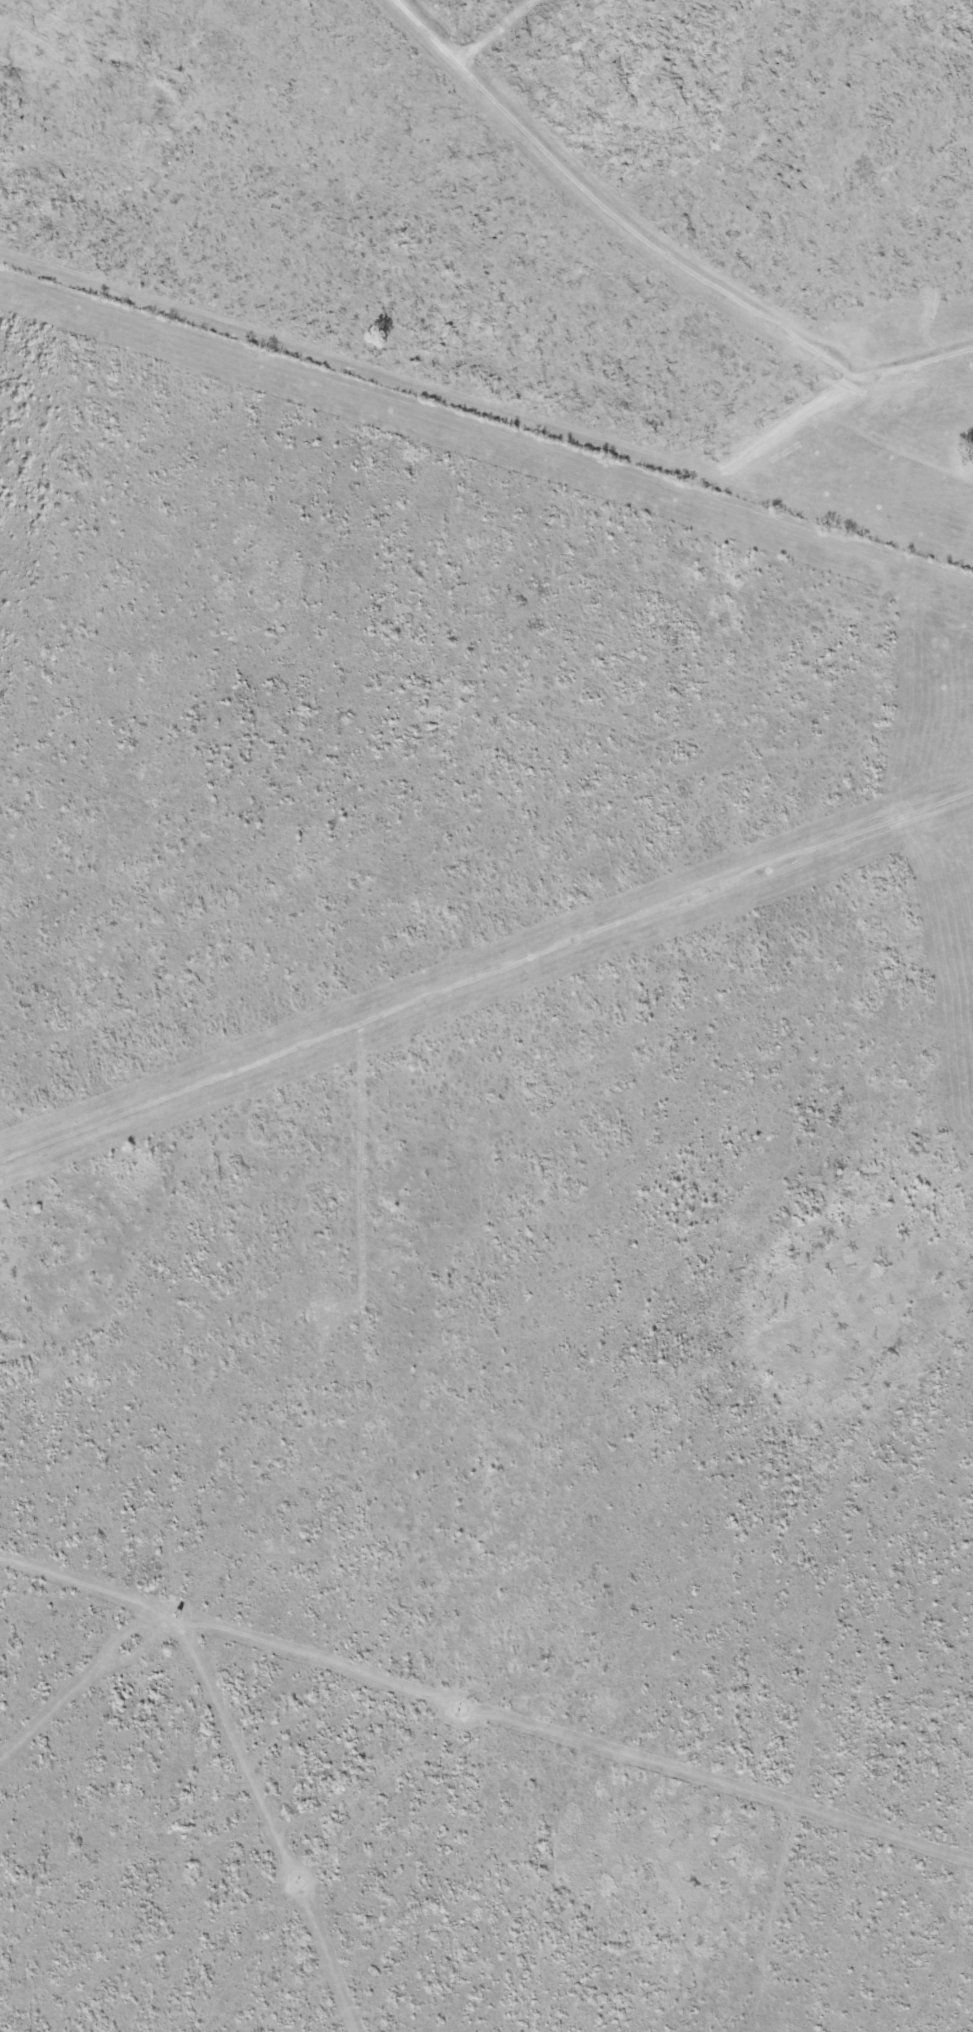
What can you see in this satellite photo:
road: (637, 284)

